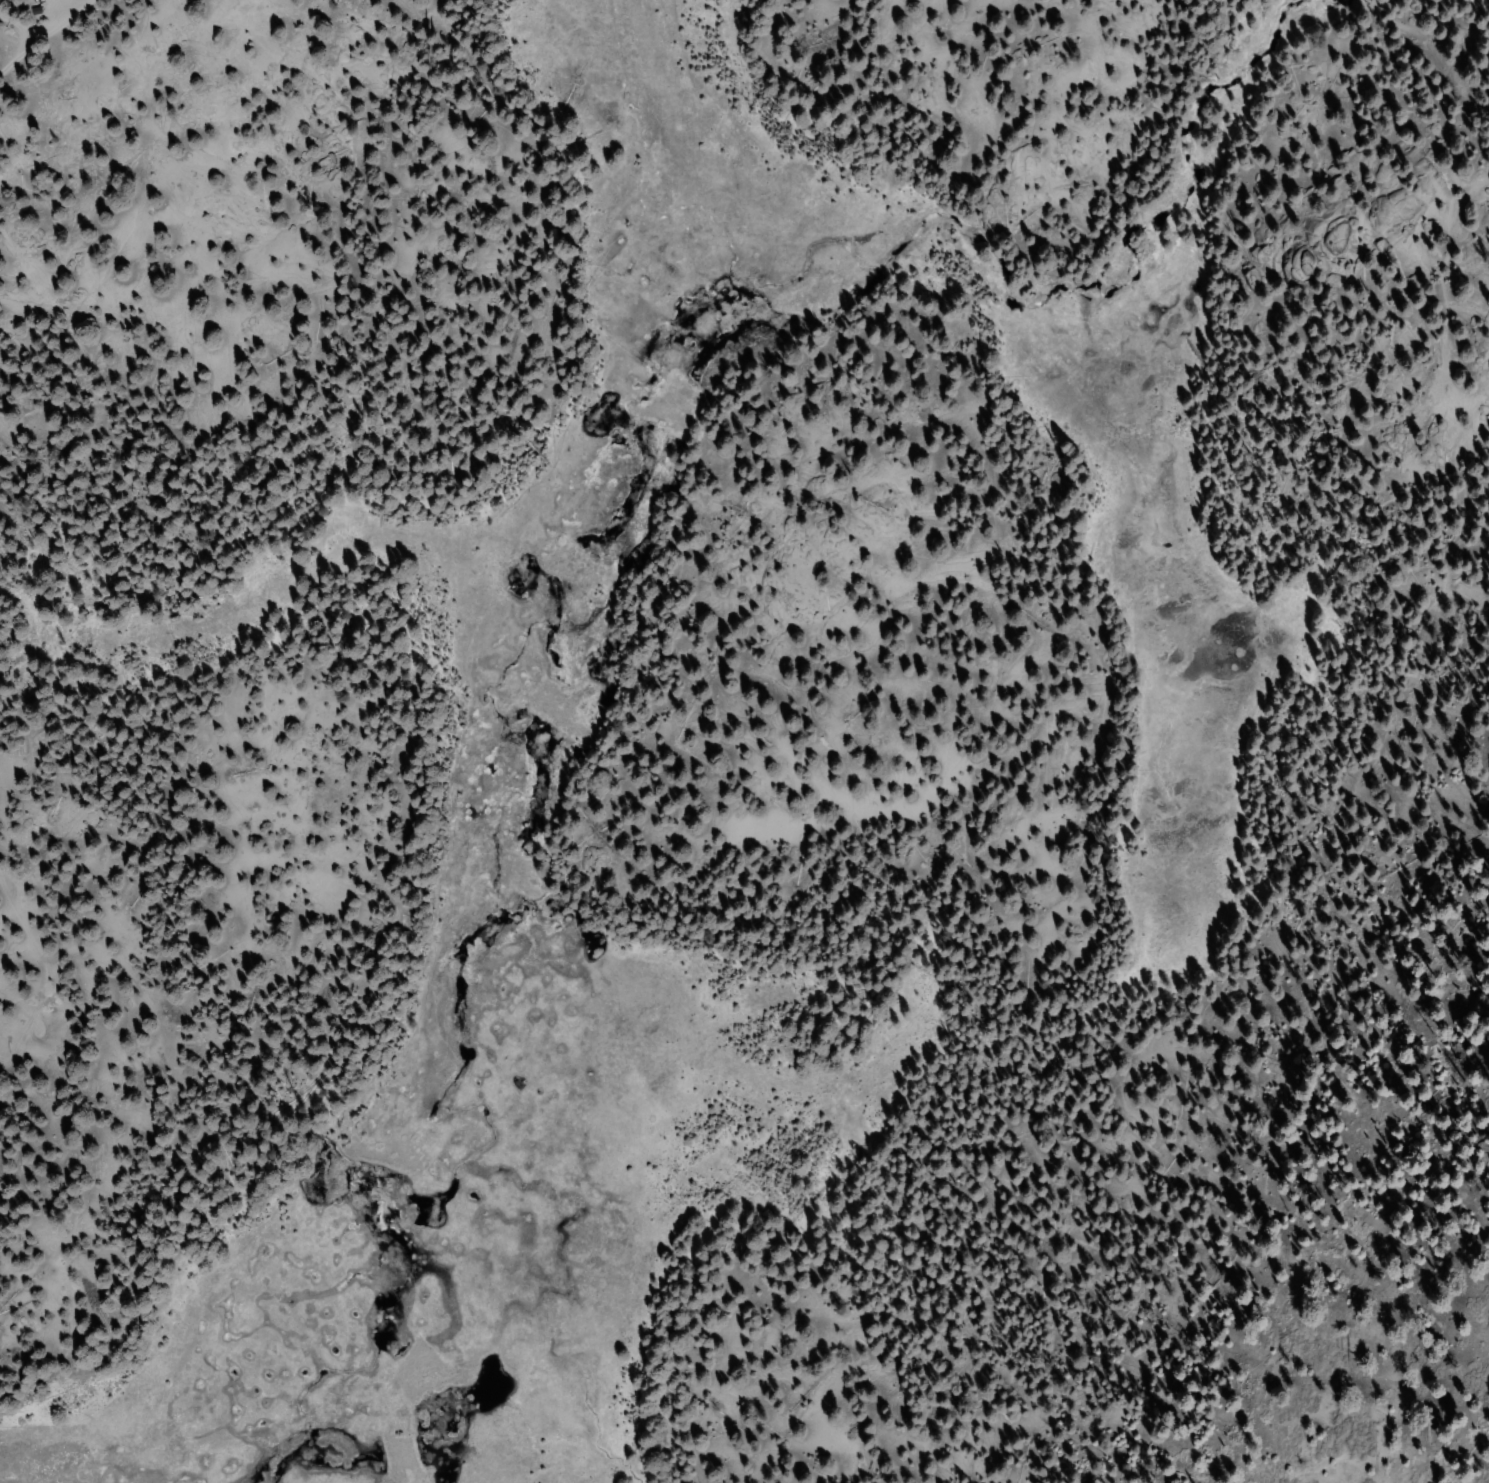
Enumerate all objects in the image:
road: (1426, 24)
road: (21, 25)
road: (39, 46)

